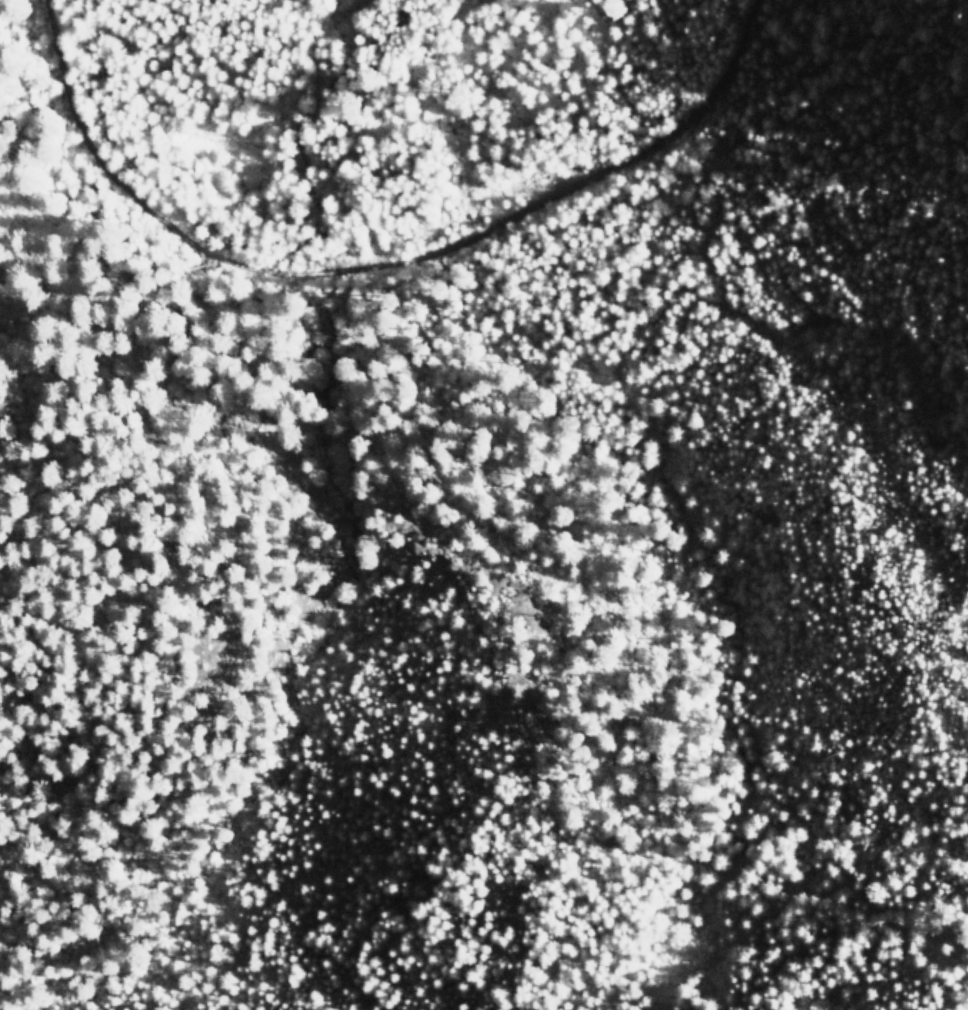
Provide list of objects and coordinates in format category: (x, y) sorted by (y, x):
road: (380, 264)

